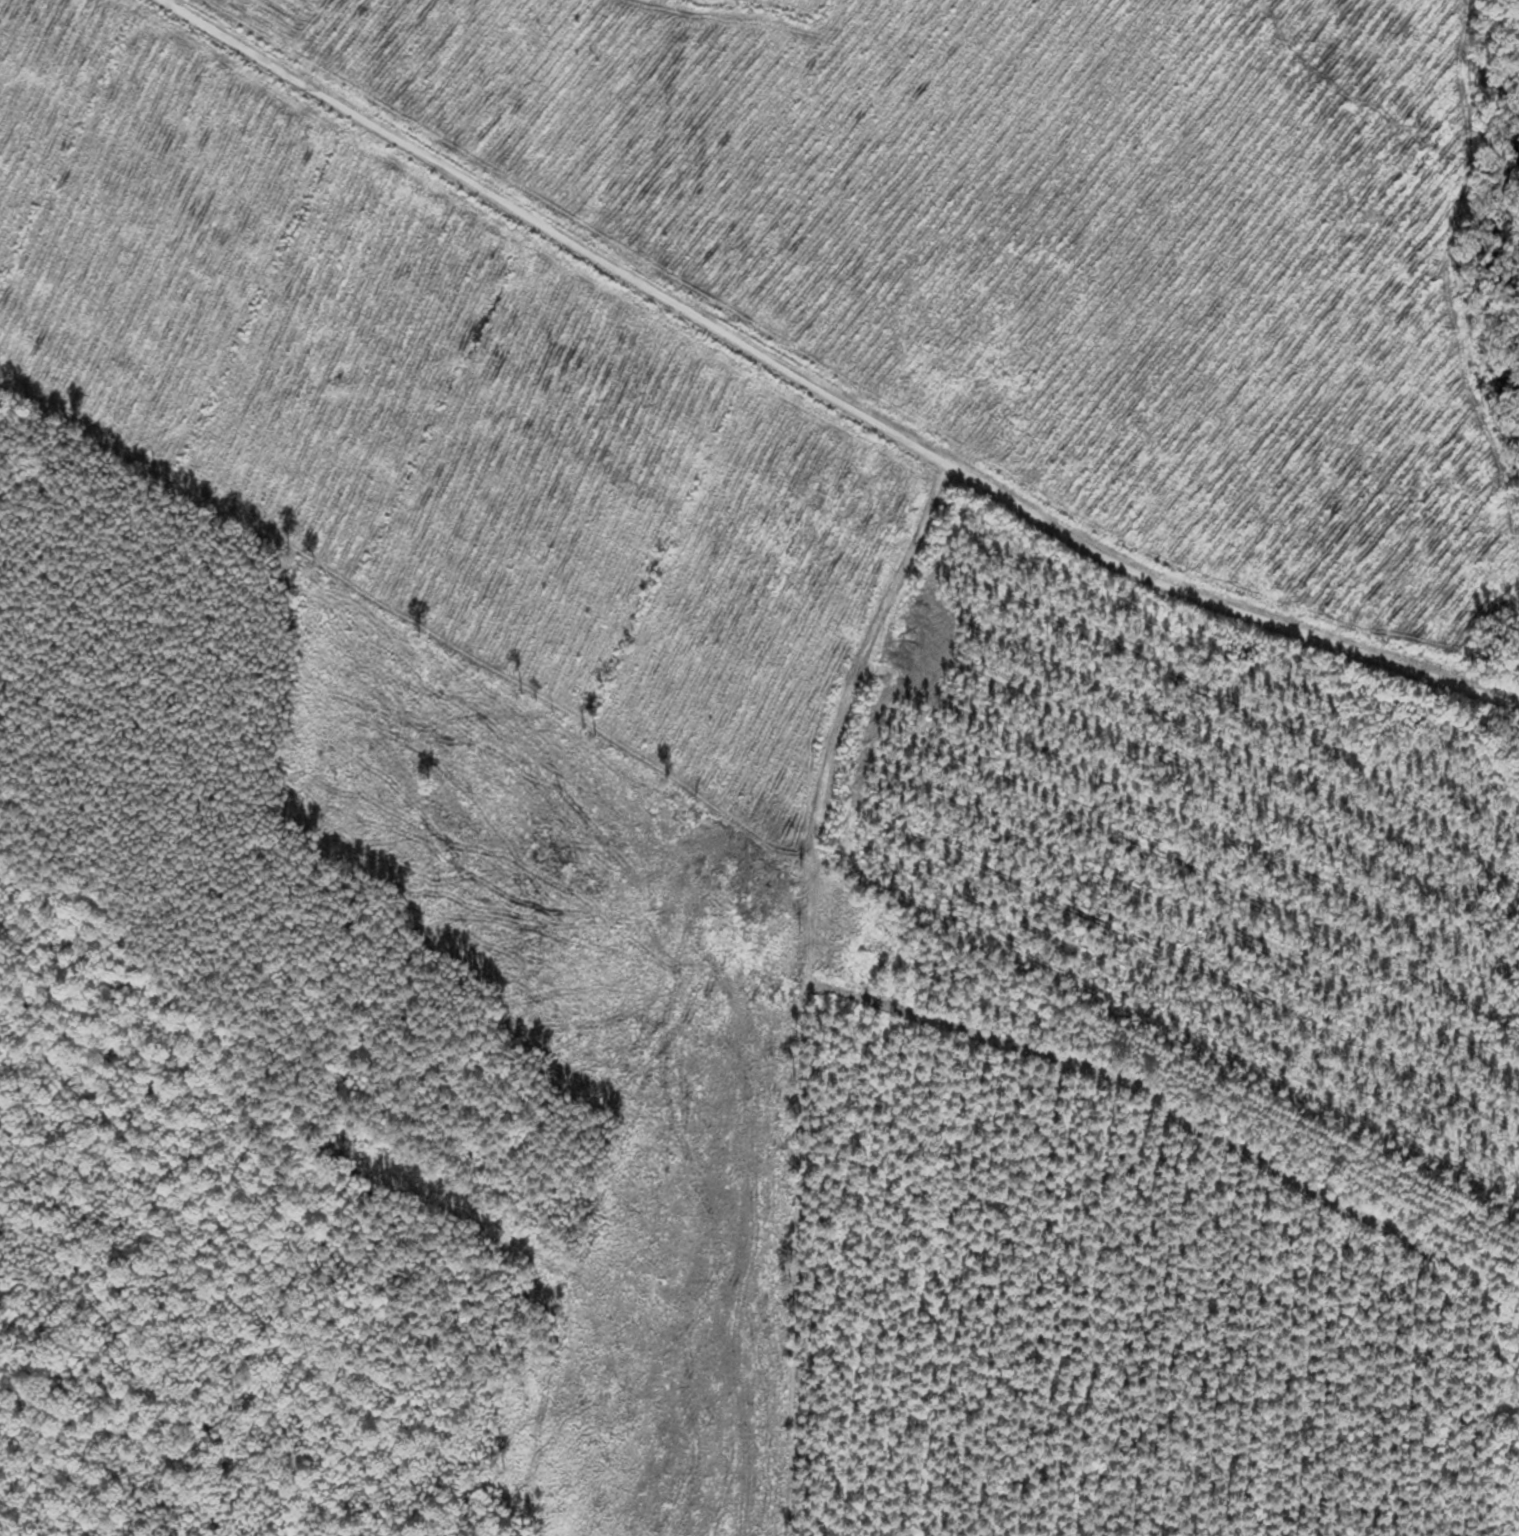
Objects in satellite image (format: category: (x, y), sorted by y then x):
road: (811, 399)

